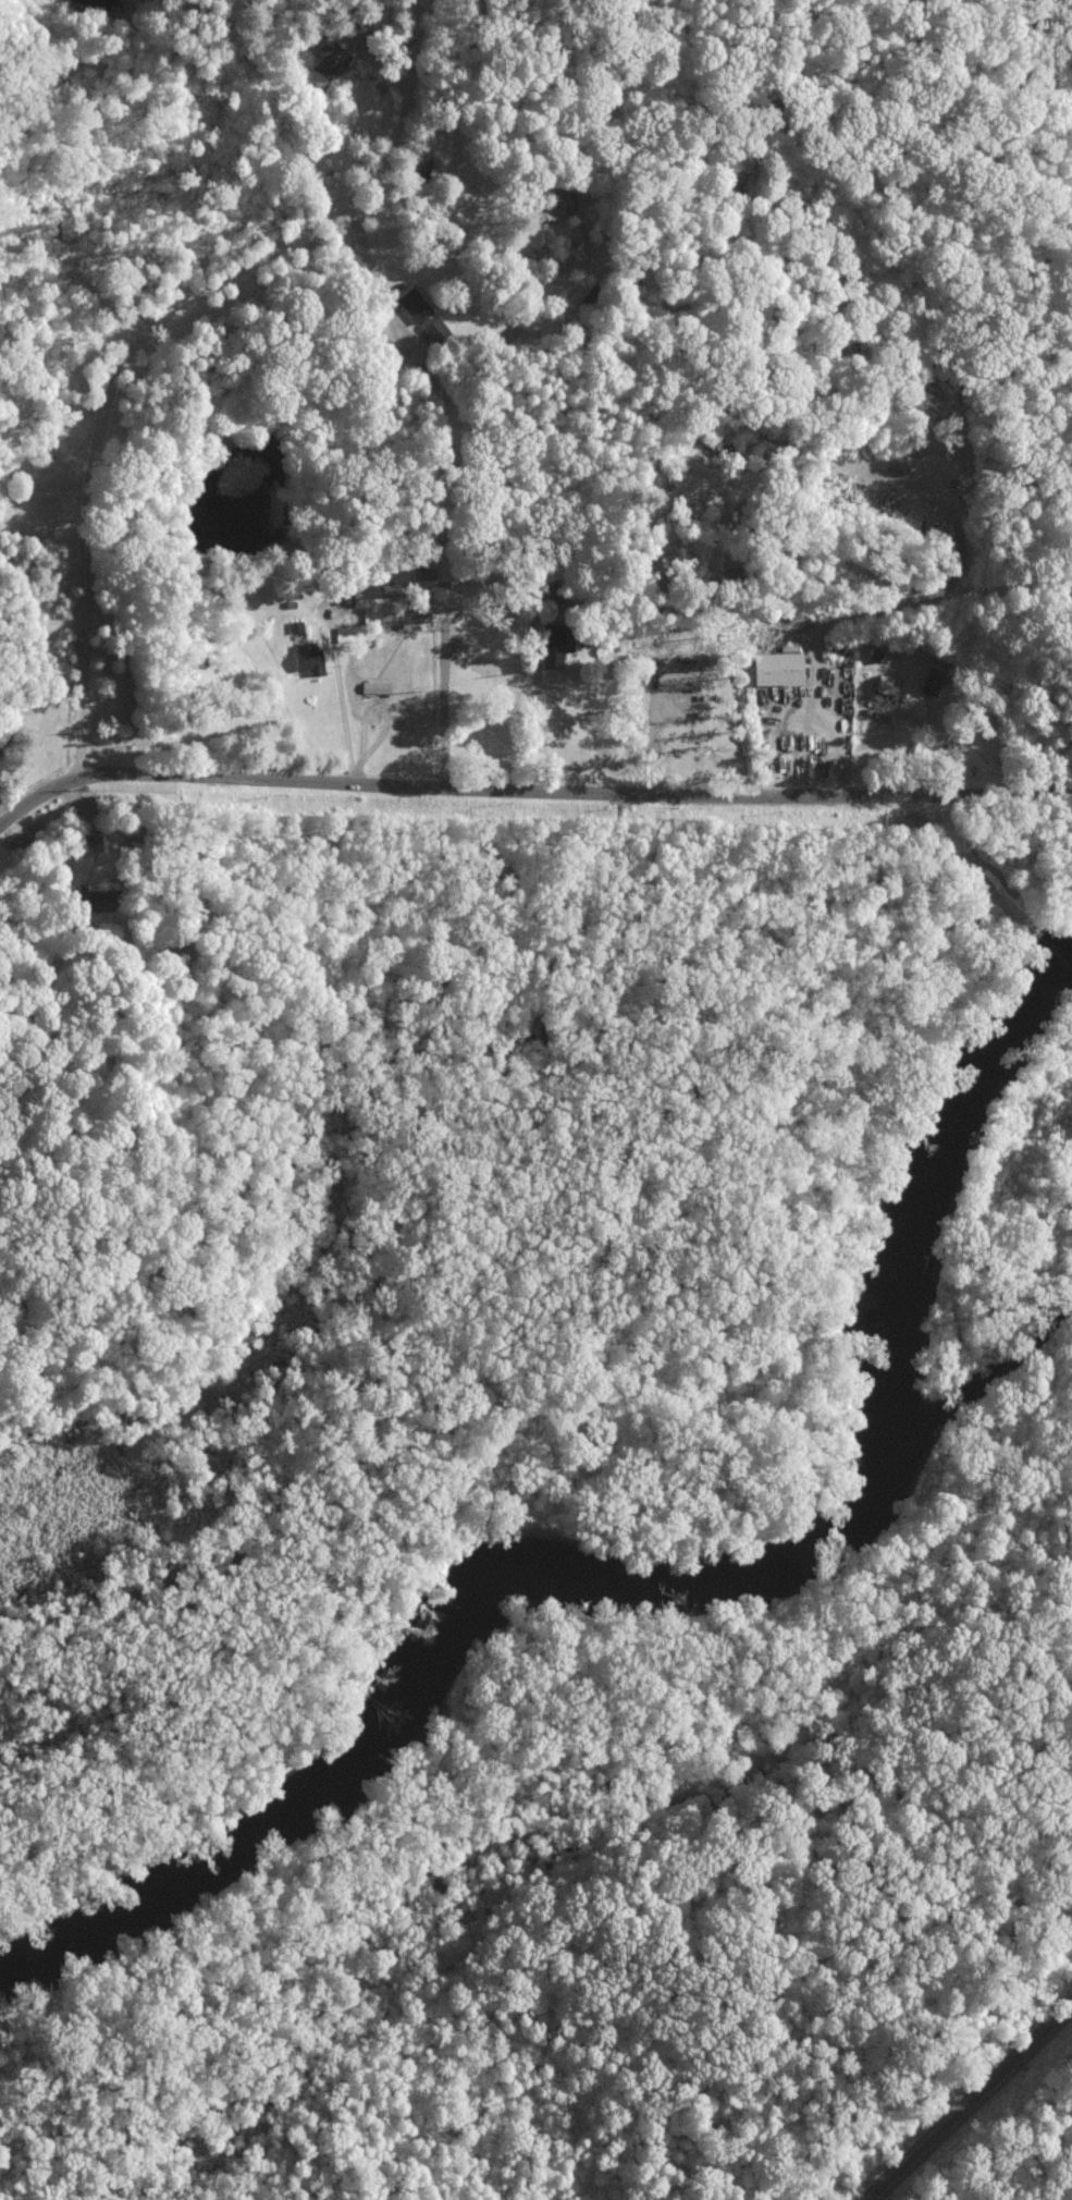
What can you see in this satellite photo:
building: (326, 63)
building: (555, 203)
road: (497, 250)
road: (371, 266)
building: (414, 304)
road: (151, 333)
road: (44, 515)
building: (390, 588)
building: (344, 596)
building: (405, 619)
building: (557, 638)
building: (308, 658)
building: (780, 668)
building: (932, 679)
building: (887, 685)
road: (344, 719)
road: (532, 723)
road: (528, 787)
building: (91, 900)
river: (669, 1586)
railway: (970, 2104)

